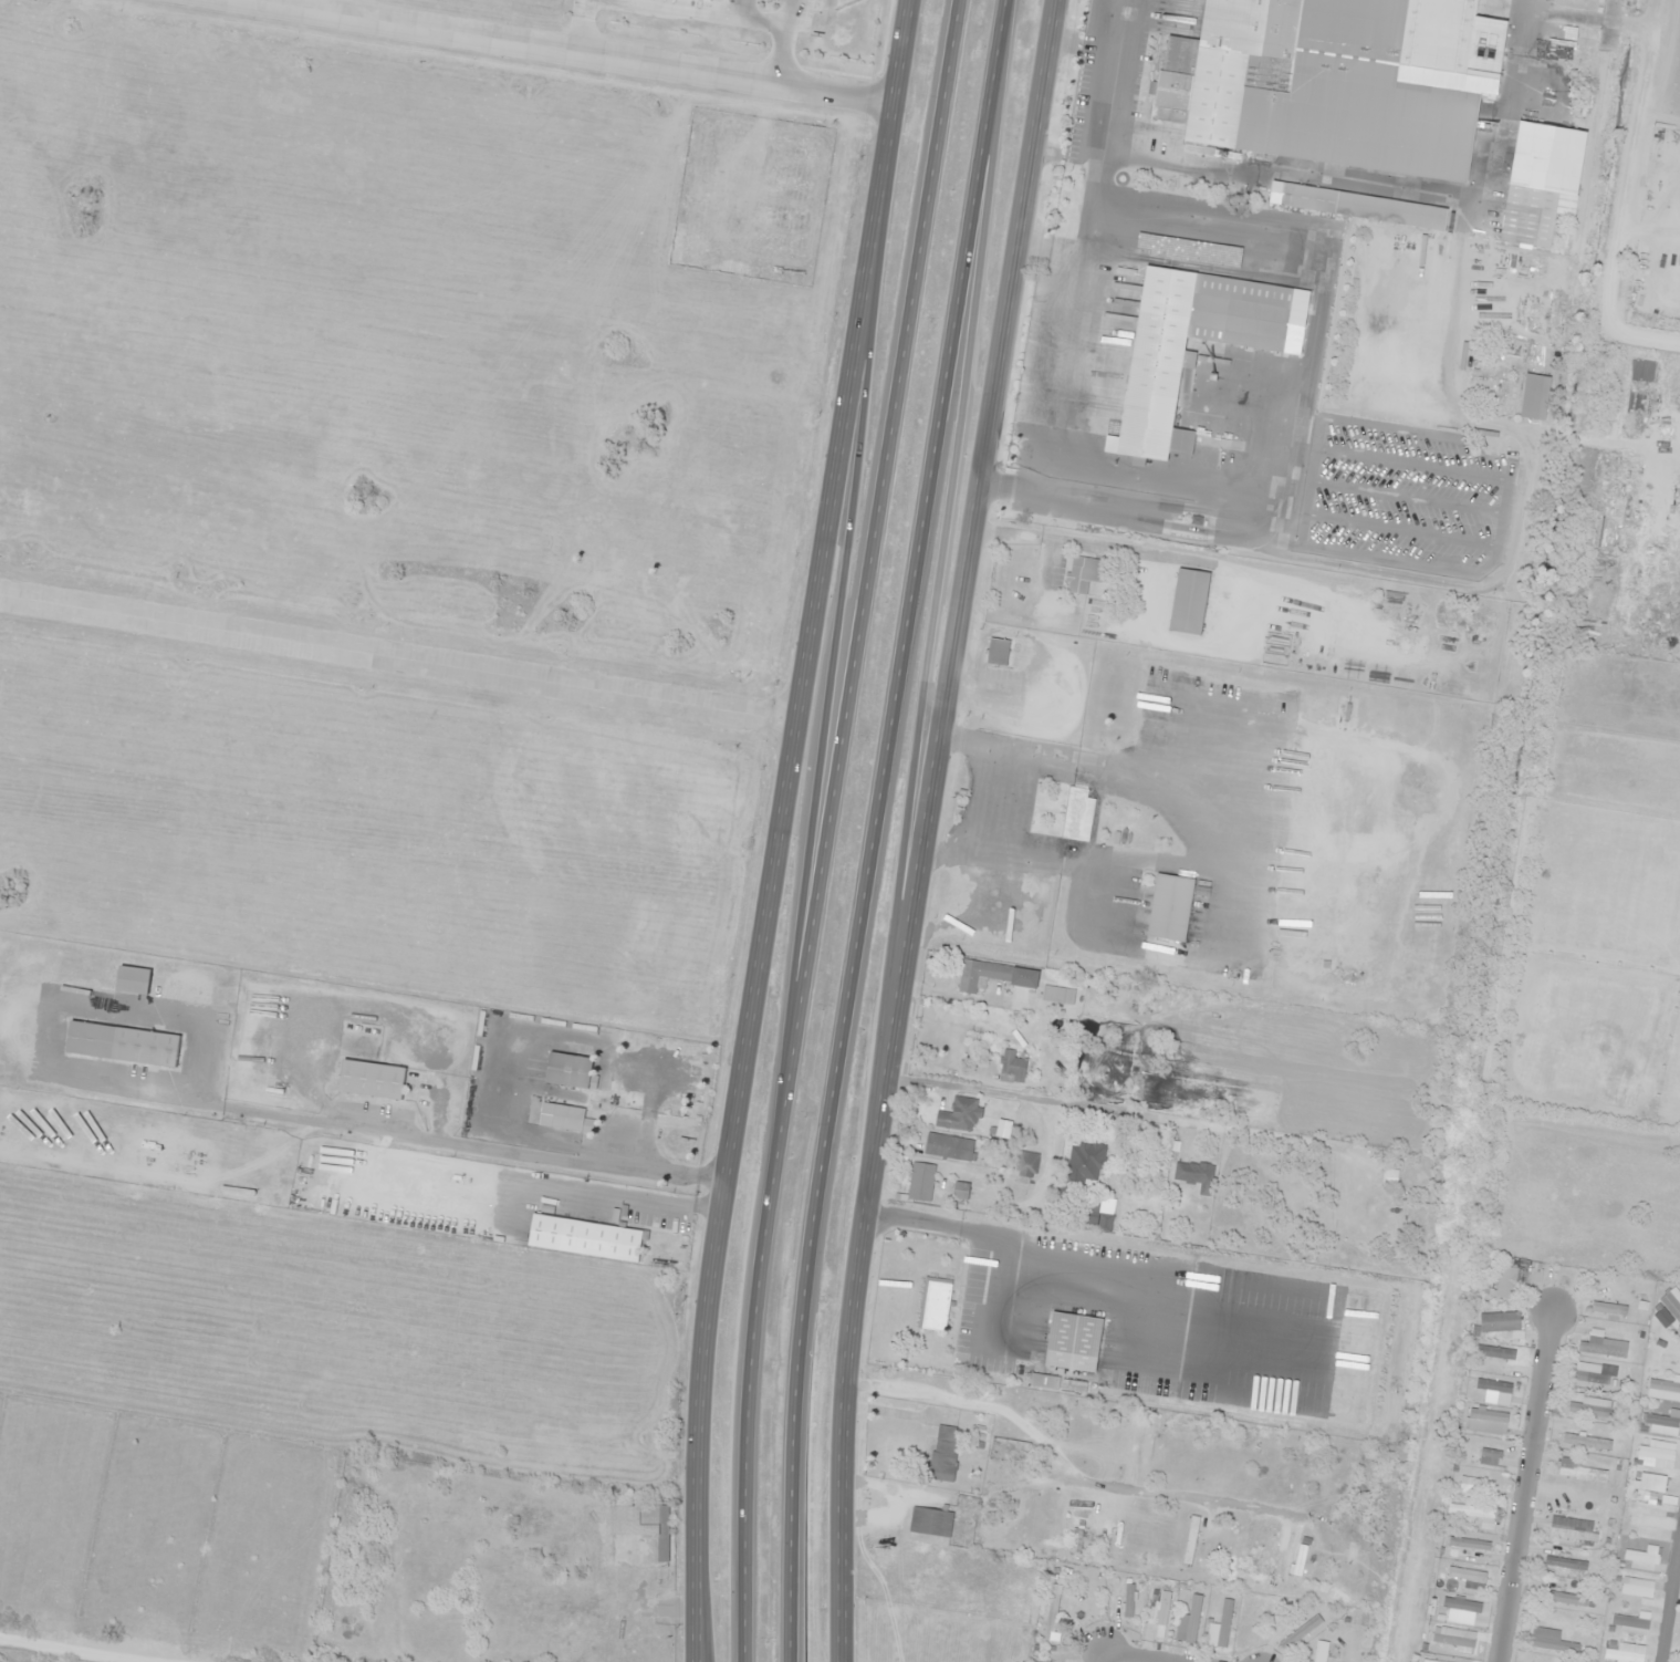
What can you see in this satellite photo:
building: (711, 0)
building: (1586, 46)
road: (591, 49)
building: (1314, 87)
building: (1358, 205)
building: (1179, 355)
building: (1534, 396)
road: (947, 527)
building: (1085, 573)
building: (1189, 601)
building: (998, 652)
road: (399, 657)
road: (836, 659)
building: (1074, 813)
road: (780, 828)
road: (924, 828)
road: (833, 829)
road: (876, 829)
building: (1170, 907)
building: (982, 975)
building: (133, 980)
building: (123, 1045)
building: (1012, 1067)
building: (568, 1070)
building: (372, 1080)
building: (959, 1114)
building: (562, 1116)
building: (949, 1147)
building: (1085, 1162)
building: (1026, 1164)
building: (1196, 1175)
building: (920, 1182)
building: (961, 1191)
building: (1086, 1213)
building: (586, 1238)
building: (1505, 1281)
building: (1671, 1302)
building: (935, 1303)
building: (1608, 1308)
building: (1498, 1320)
building: (1601, 1346)
building: (1495, 1351)
building: (1594, 1373)
building: (1493, 1384)
building: (1663, 1390)
building: (1592, 1410)
building: (1486, 1421)
building: (1660, 1423)
building: (1586, 1442)
building: (1491, 1453)
building: (945, 1454)
building: (1656, 1454)
building: (1241, 1462)
building: (1576, 1469)
building: (1475, 1482)
building: (1649, 1482)
road: (1521, 1484)
building: (1471, 1510)
building: (931, 1521)
building: (643, 1524)
building: (1646, 1524)
building: (1572, 1529)
building: (1469, 1542)
building: (1235, 1545)
building: (1269, 1551)
building: (1296, 1556)
building: (1641, 1558)
building: (1565, 1562)
building: (1469, 1577)
building: (1637, 1587)
building: (1562, 1597)
building: (1128, 1600)
road: (1670, 1600)
building: (1462, 1604)
building: (1051, 1616)
building: (1189, 1622)
building: (1630, 1623)
building: (1220, 1627)
building: (1300, 1632)
building: (1551, 1641)
building: (1319, 1651)
building: (1624, 1653)
road: (1106, 1658)
road: (1131, 1658)

